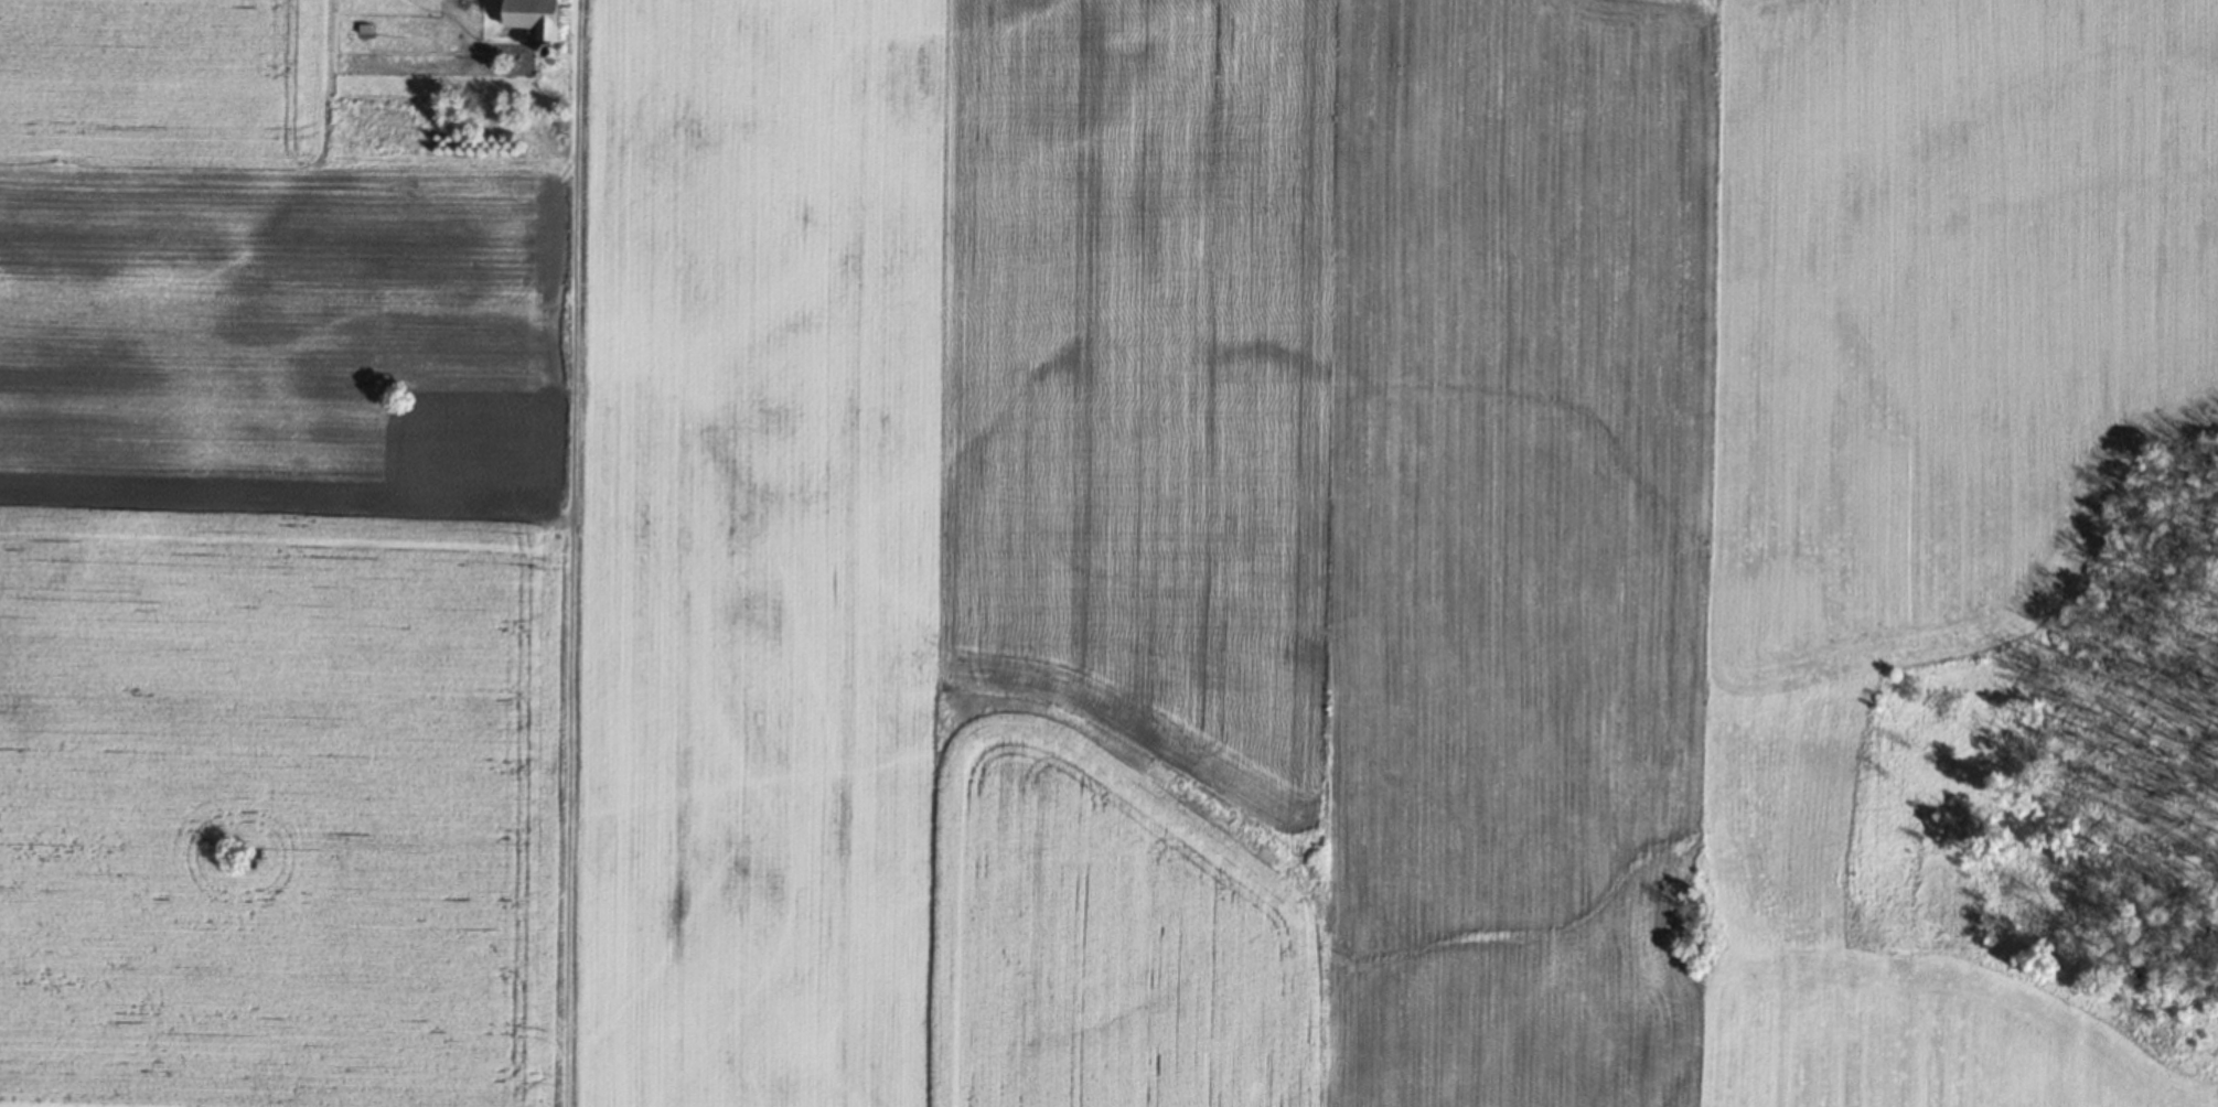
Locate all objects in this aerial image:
building: (531, 14)

